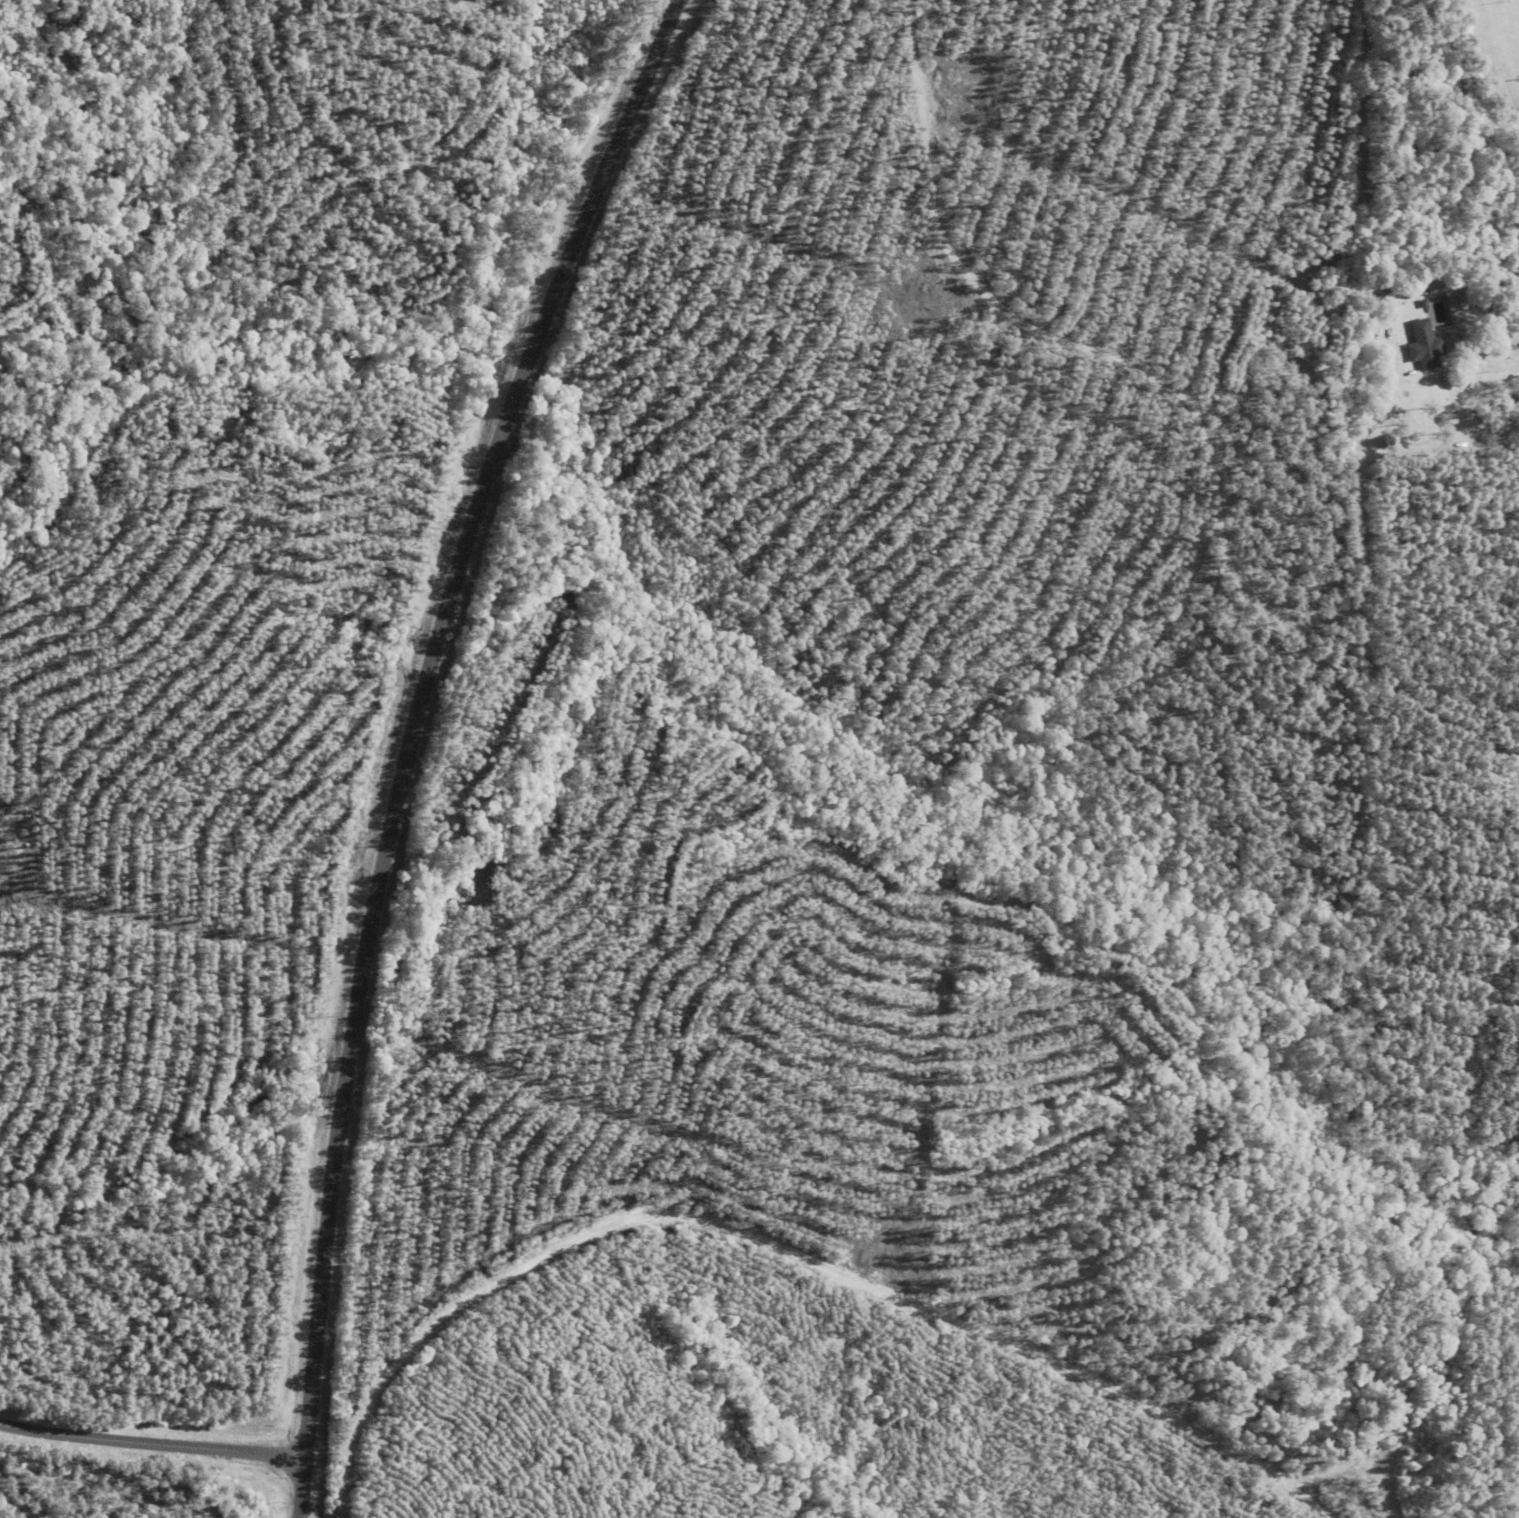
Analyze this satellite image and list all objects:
building: (1423, 346)
road: (1191, 425)
road: (409, 739)
road: (753, 1242)
road: (151, 1441)

